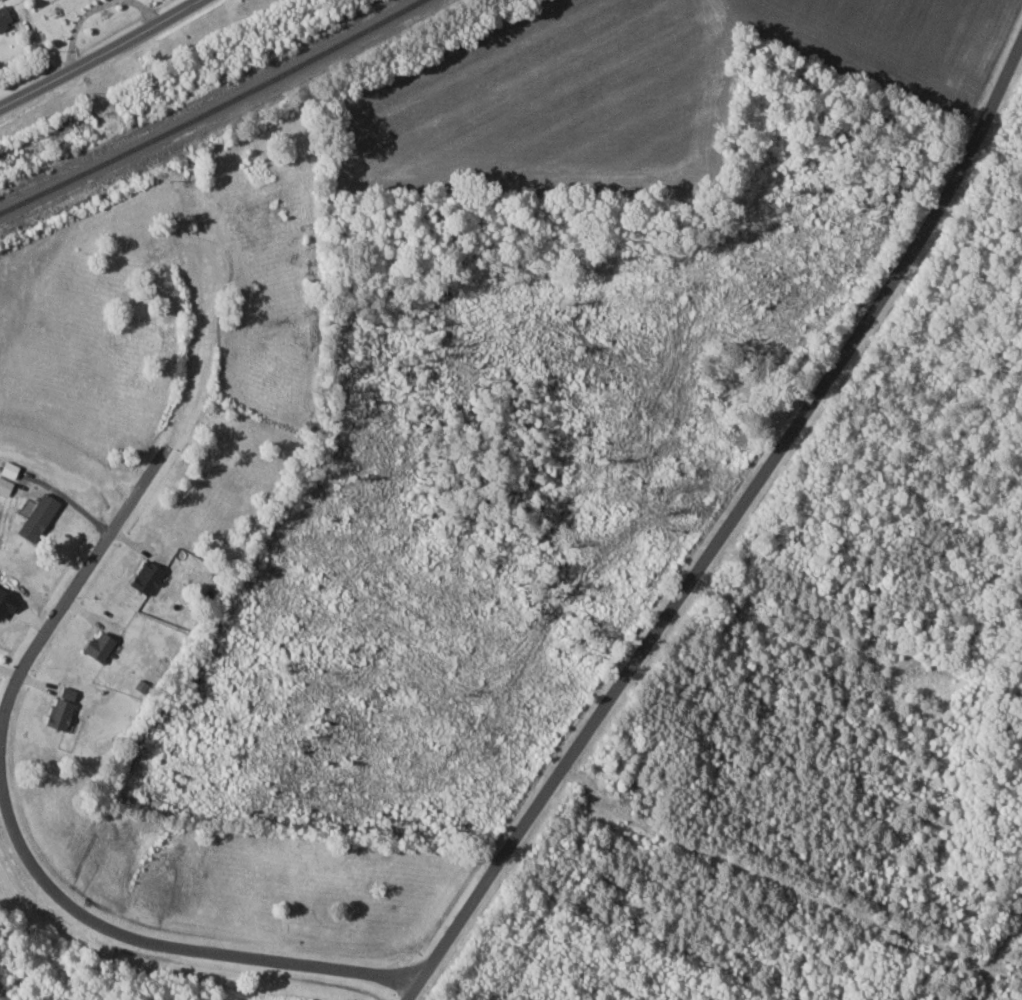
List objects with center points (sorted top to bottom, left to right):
building: (5, 16)
road: (101, 54)
railway: (210, 108)
building: (11, 470)
building: (6, 486)
building: (40, 517)
road: (728, 528)
building: (149, 578)
building: (102, 646)
building: (64, 708)
road: (22, 845)

